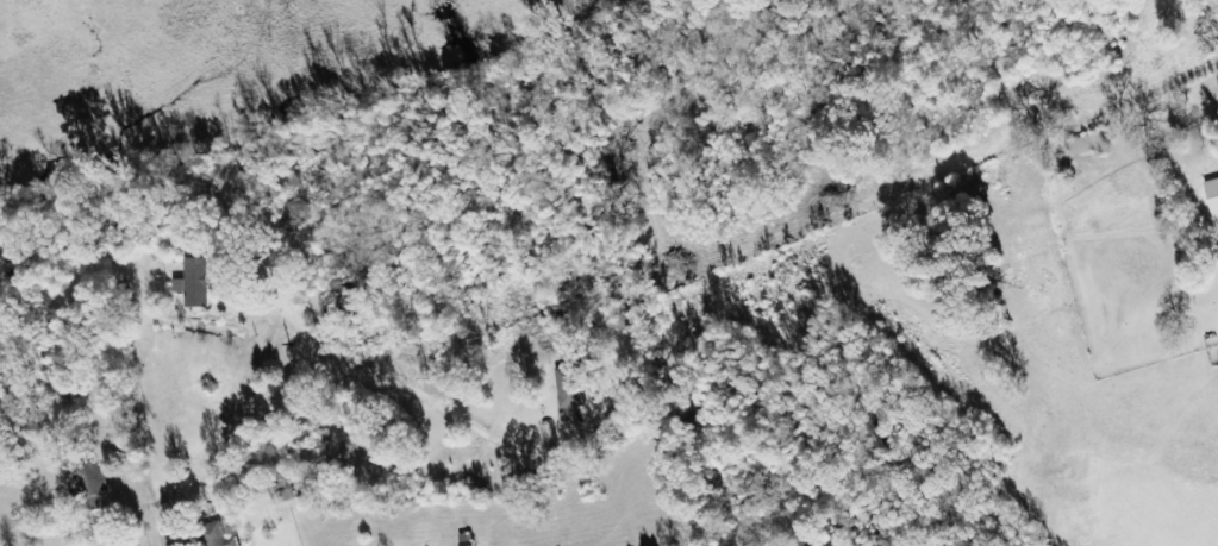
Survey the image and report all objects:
building: (1213, 194)
building: (196, 283)
road: (1158, 283)
building: (573, 388)
building: (90, 481)
building: (283, 492)
road: (196, 529)
road: (155, 533)
building: (218, 535)

